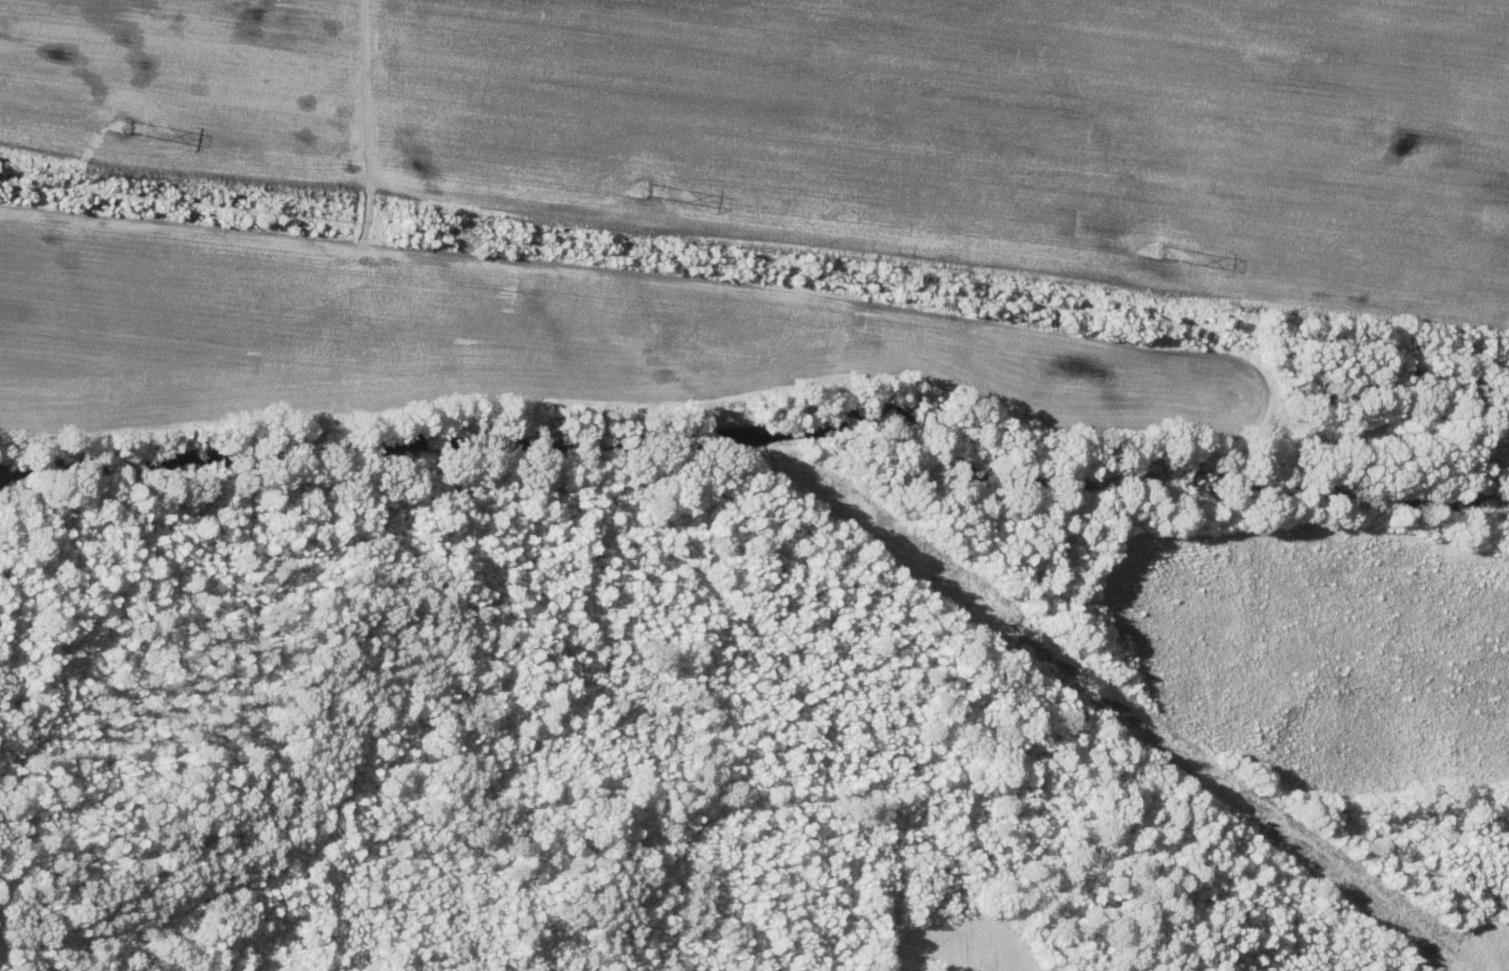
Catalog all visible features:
power tower: (123, 121)
power tower: (643, 188)
power tower: (1158, 251)
railway: (754, 270)

